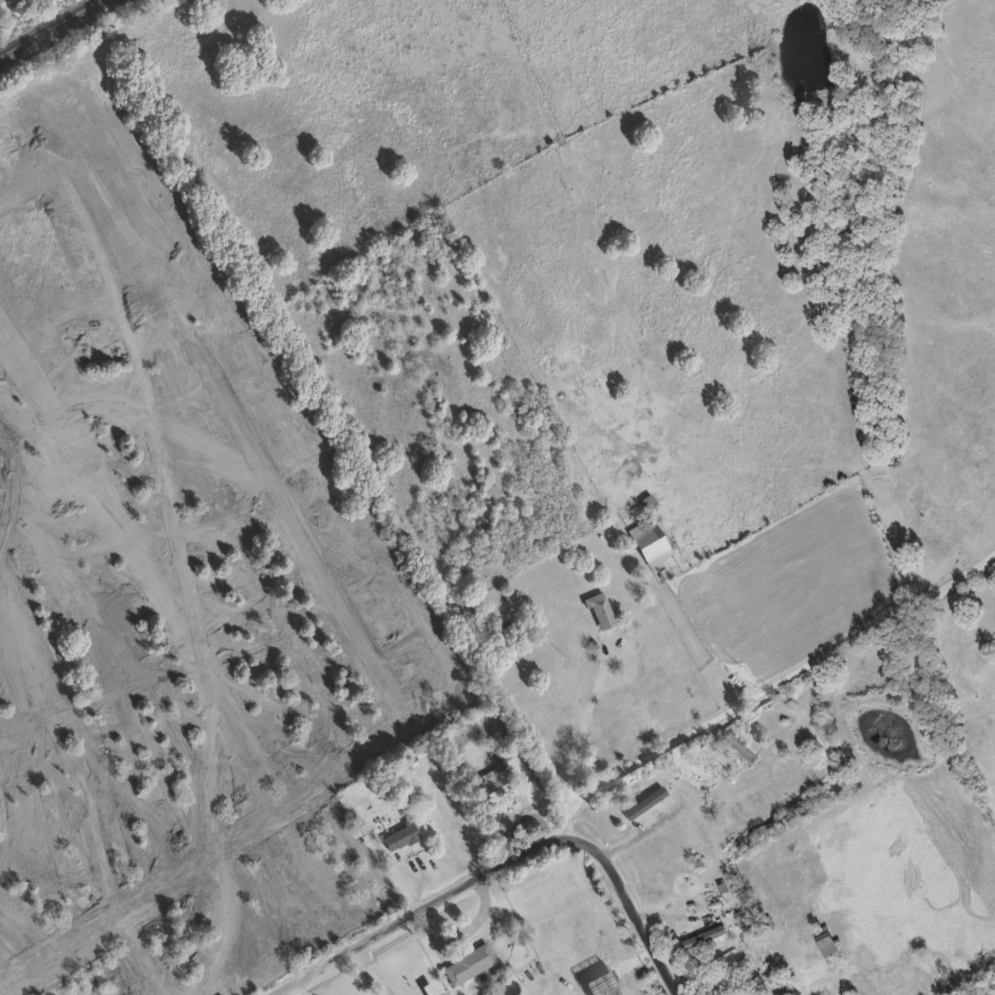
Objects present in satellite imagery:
railway: (46, 25)
building: (647, 541)
building: (598, 610)
road: (766, 685)
road: (587, 729)
building: (737, 746)
building: (716, 755)
building: (492, 784)
road: (812, 790)
building: (742, 803)
building: (633, 809)
road: (646, 830)
building: (399, 836)
road: (508, 862)
building: (175, 926)
building: (702, 937)
building: (824, 940)
building: (466, 963)
building: (734, 966)
road: (372, 971)

